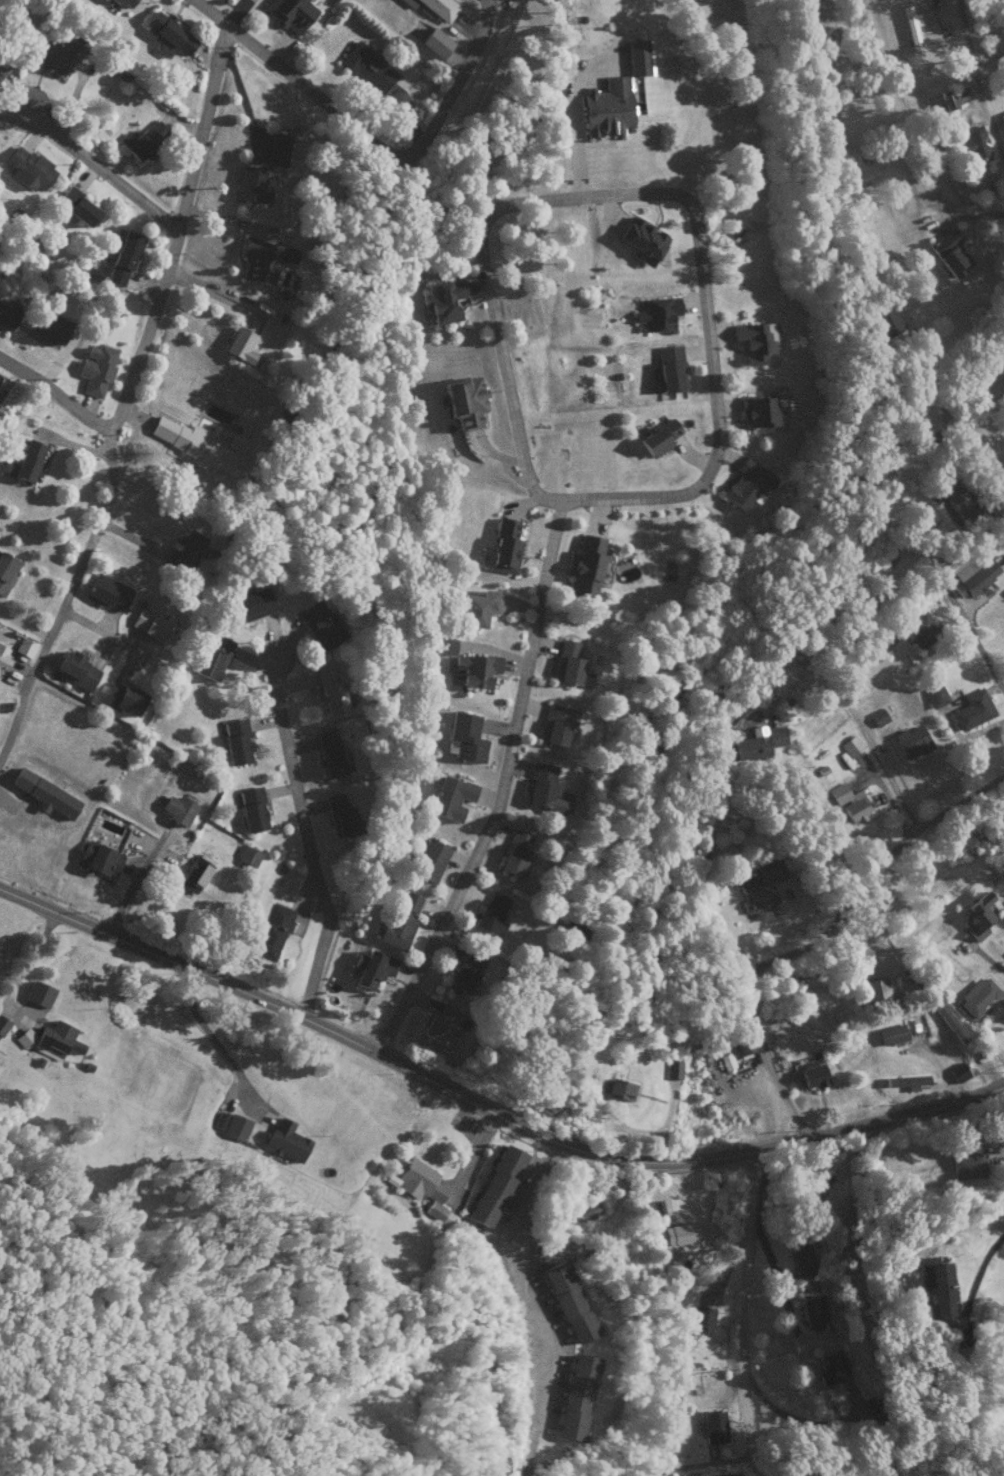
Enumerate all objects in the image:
building: (124, 3)
building: (437, 7)
building: (290, 12)
building: (911, 27)
building: (169, 34)
building: (435, 42)
building: (60, 55)
building: (637, 57)
building: (1, 67)
building: (367, 67)
road: (976, 83)
building: (952, 96)
building: (607, 108)
road: (180, 117)
road: (367, 138)
building: (143, 140)
building: (975, 141)
building: (277, 149)
road: (97, 167)
building: (28, 168)
building: (251, 184)
road: (664, 193)
building: (77, 206)
building: (641, 239)
building: (949, 253)
building: (123, 258)
building: (259, 260)
building: (442, 300)
building: (656, 313)
building: (6, 316)
building: (888, 323)
building: (48, 327)
building: (751, 341)
building: (239, 344)
building: (1002, 367)
building: (96, 369)
building: (667, 369)
road: (123, 393)
road: (55, 395)
building: (464, 401)
building: (756, 411)
building: (658, 437)
building: (193, 444)
building: (24, 461)
building: (746, 484)
building: (955, 500)
building: (505, 546)
building: (184, 551)
building: (584, 565)
building: (6, 570)
building: (970, 574)
building: (107, 592)
building: (248, 605)
building: (479, 608)
building: (319, 624)
building: (150, 625)
building: (921, 629)
road: (95, 630)
road: (968, 632)
building: (24, 646)
building: (443, 646)
building: (212, 656)
building: (3, 657)
building: (566, 663)
building: (474, 669)
building: (76, 670)
building: (329, 690)
building: (935, 695)
building: (121, 698)
building: (972, 709)
building: (878, 717)
building: (554, 724)
building: (466, 736)
building: (235, 740)
building: (911, 741)
building: (756, 742)
building: (850, 746)
building: (329, 753)
road: (500, 786)
building: (544, 788)
building: (450, 797)
building: (849, 802)
building: (251, 808)
building: (177, 809)
building: (340, 815)
building: (6, 825)
road: (303, 835)
building: (515, 851)
building: (245, 855)
building: (100, 858)
building: (429, 860)
road: (707, 863)
building: (194, 874)
building: (760, 888)
building: (491, 915)
building: (976, 916)
building: (400, 921)
road: (833, 925)
building: (272, 931)
road: (29, 953)
building: (371, 968)
building: (465, 972)
building: (875, 990)
building: (38, 993)
building: (977, 998)
building: (3, 1025)
building: (439, 1025)
building: (895, 1031)
building: (57, 1039)
building: (742, 1045)
building: (672, 1068)
building: (958, 1072)
building: (813, 1075)
building: (905, 1080)
building: (617, 1089)
road: (488, 1107)
road: (793, 1115)
building: (228, 1123)
building: (286, 1140)
building: (967, 1163)
road: (609, 1175)
building: (418, 1181)
building: (495, 1185)
building: (813, 1189)
building: (583, 1212)
building: (437, 1213)
building: (680, 1233)
building: (801, 1257)
road: (524, 1279)
building: (937, 1285)
building: (567, 1302)
road: (739, 1311)
building: (812, 1311)
building: (929, 1311)
building: (704, 1320)
building: (831, 1368)
building: (575, 1397)
building: (714, 1426)

